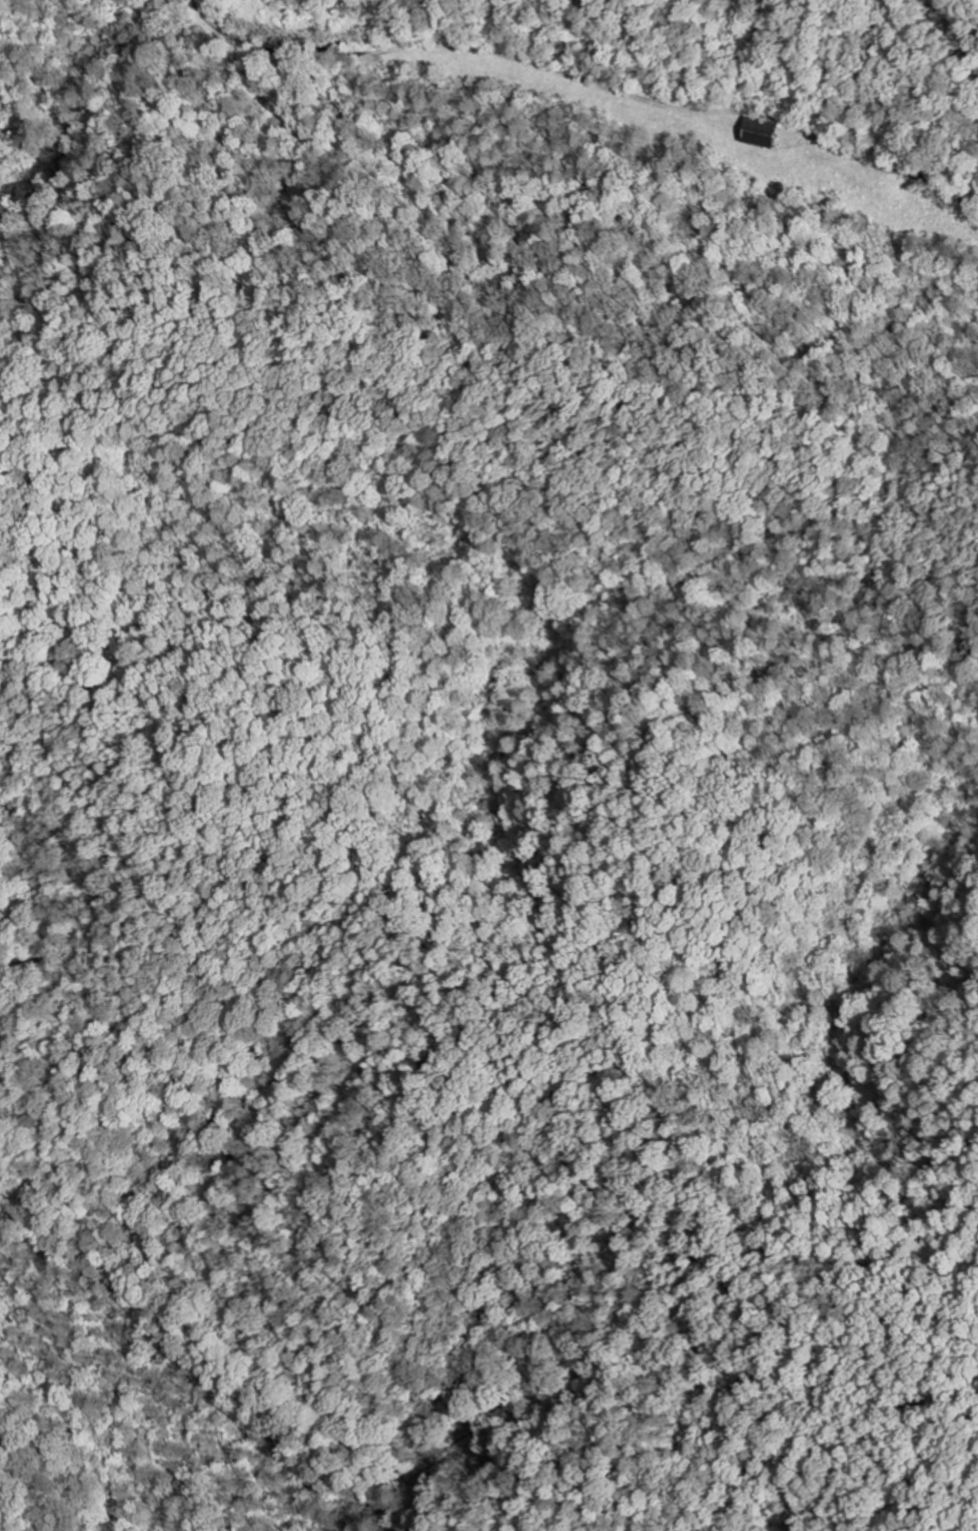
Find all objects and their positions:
building: (760, 134)

